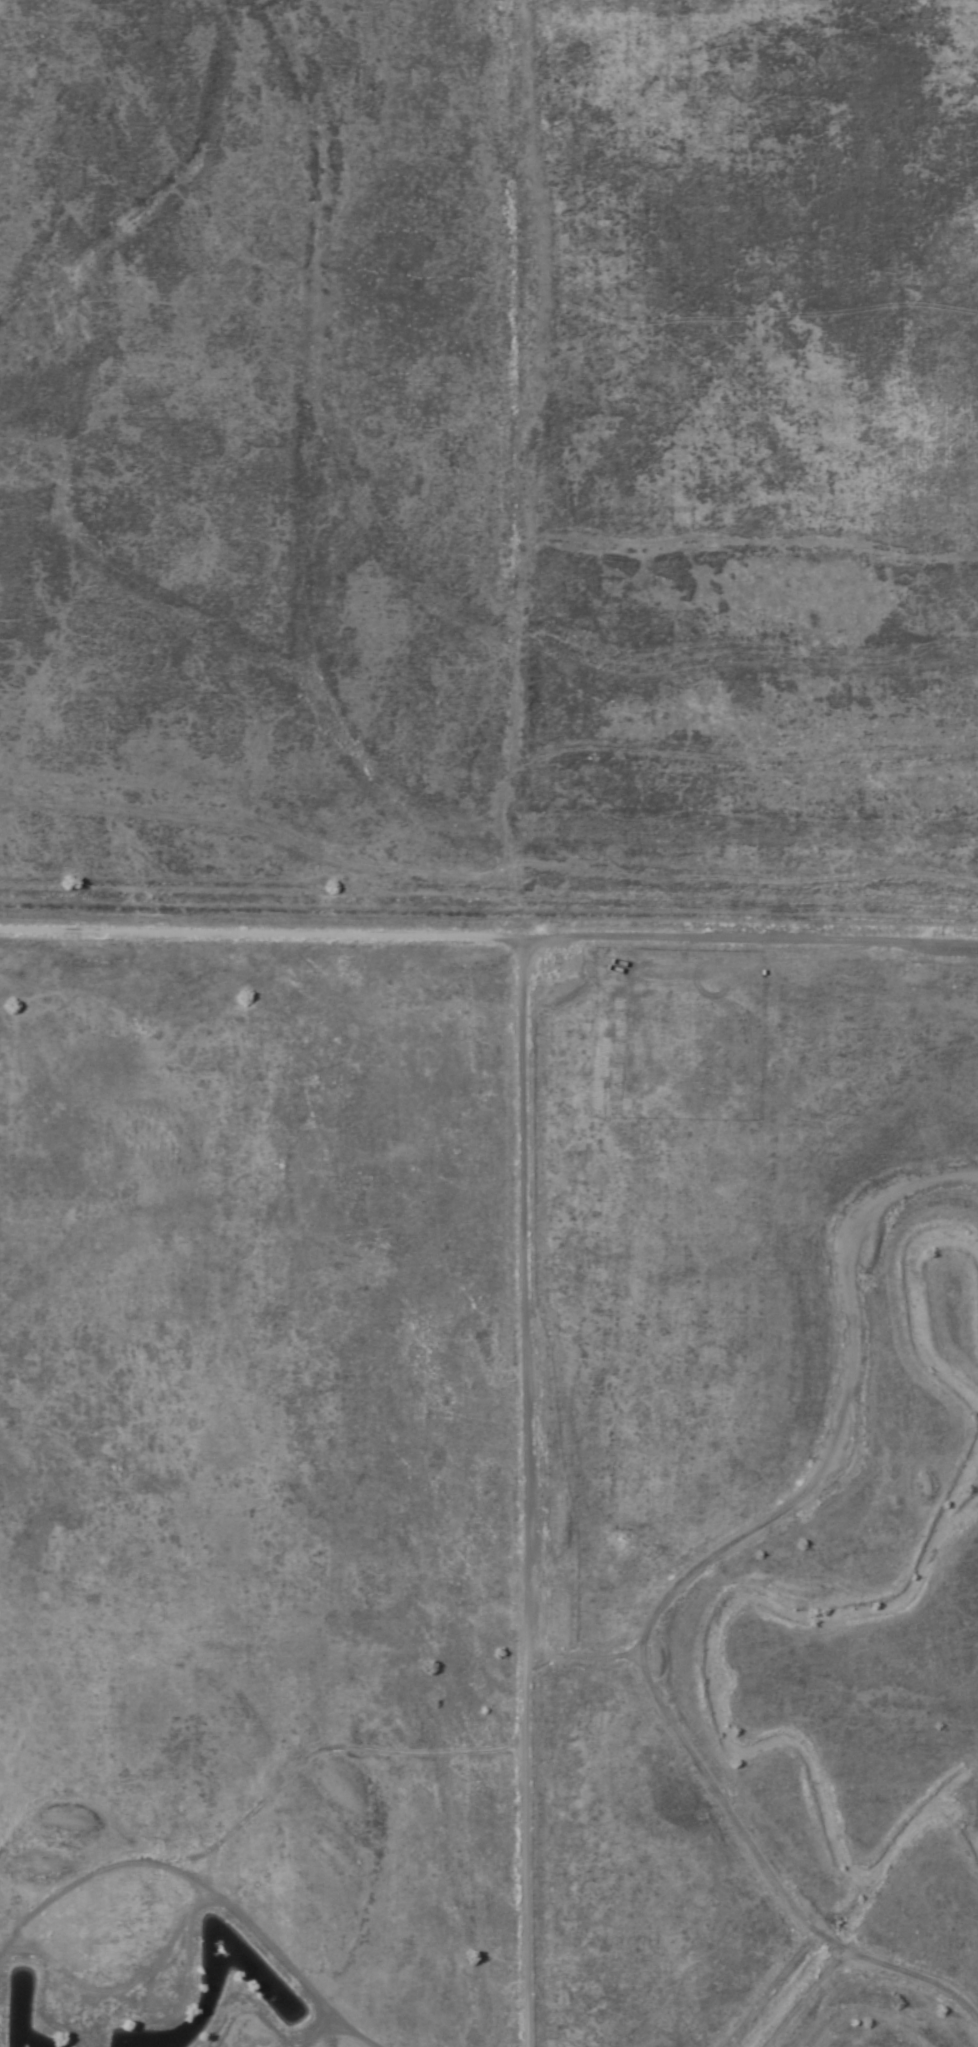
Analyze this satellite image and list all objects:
crop: (489, 1023)

